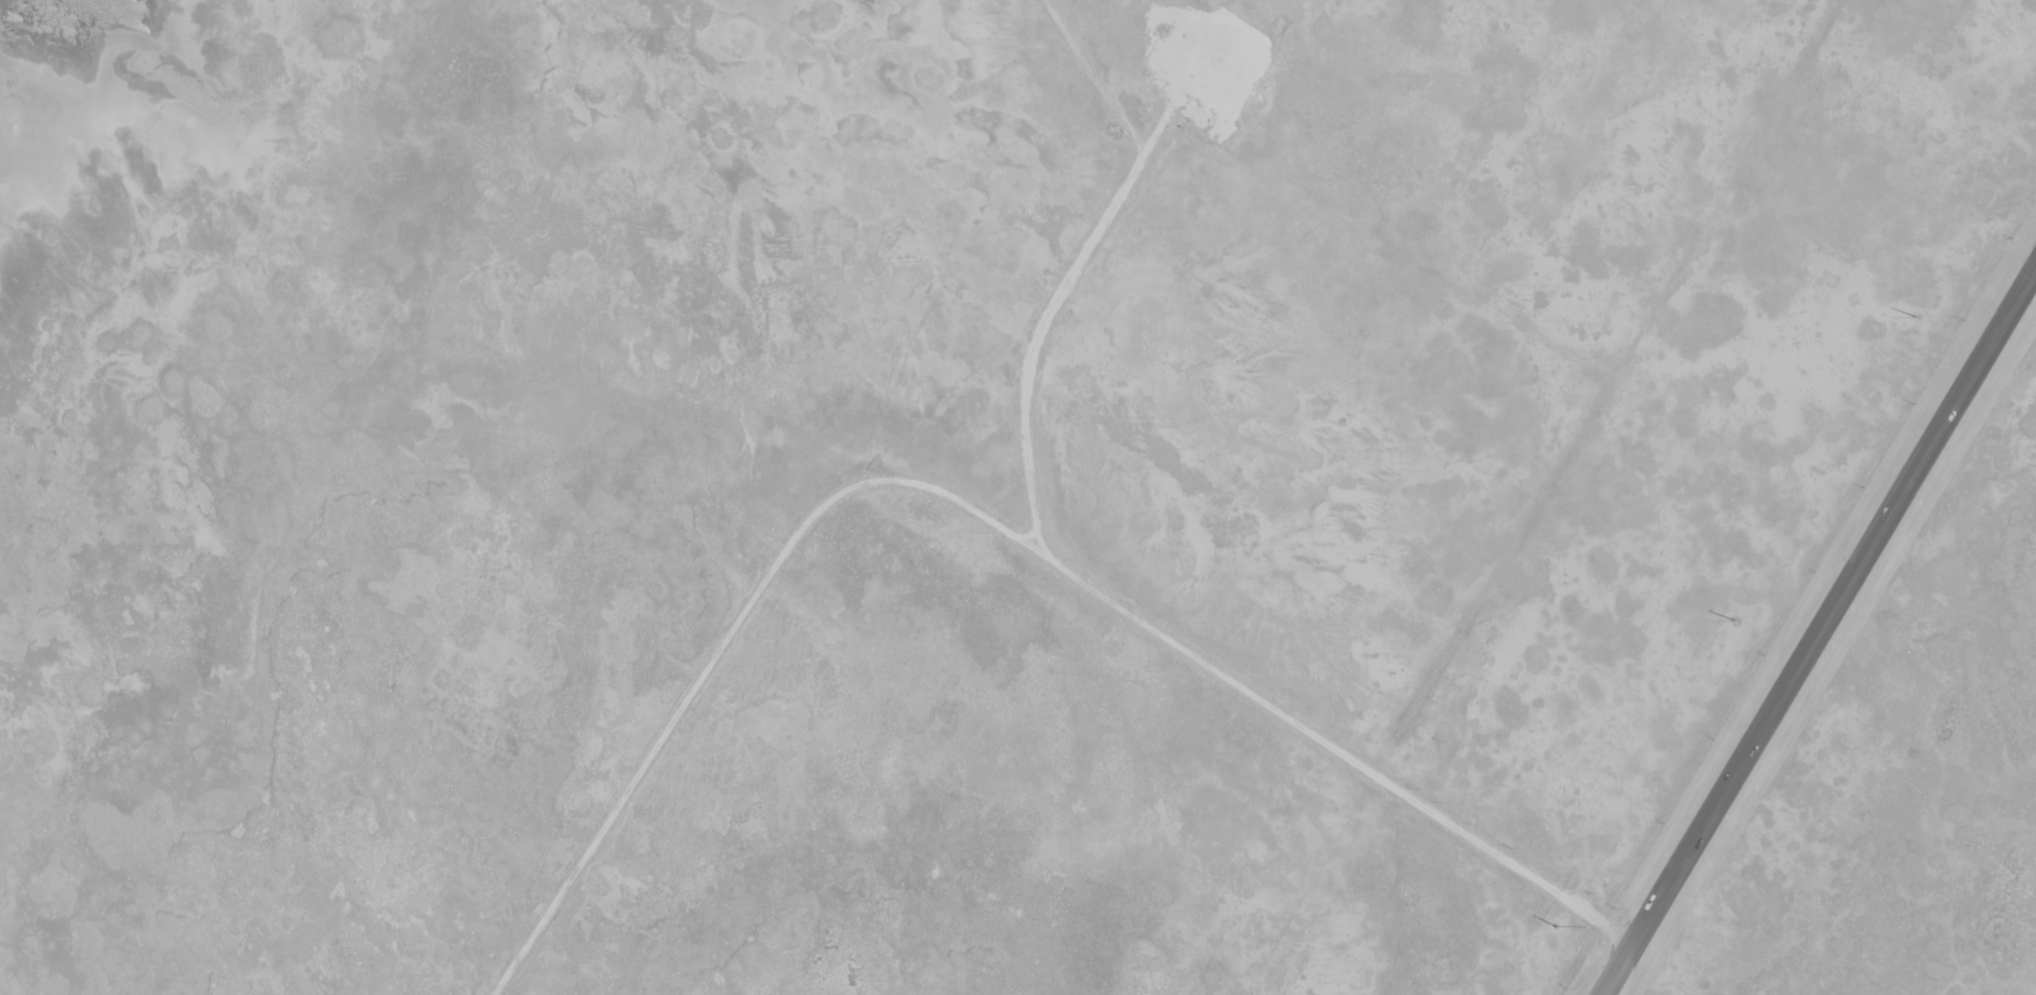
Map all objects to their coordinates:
power tower: (1916, 320)
park: (930, 473)
power tower: (1736, 624)
road: (1822, 636)
park: (1905, 776)
road: (1542, 885)
power tower: (1557, 928)

